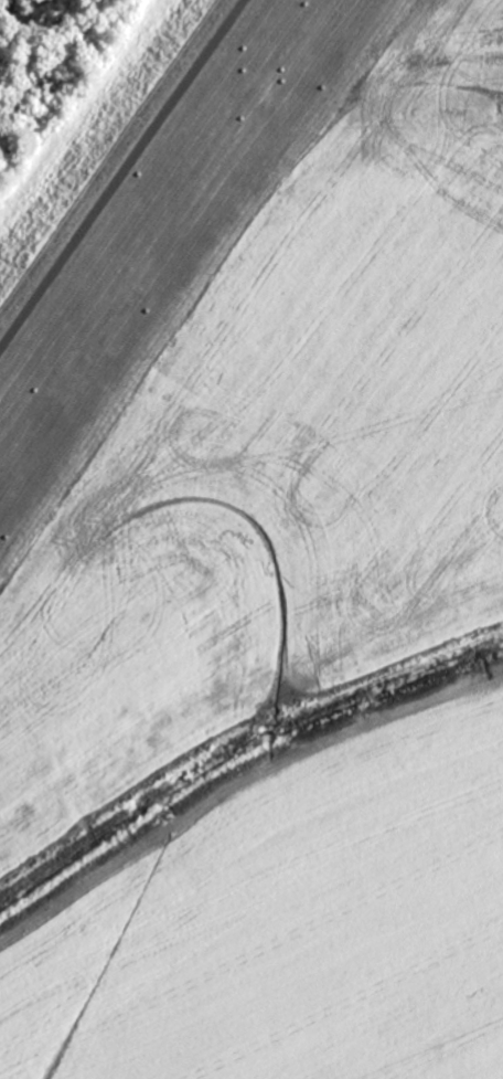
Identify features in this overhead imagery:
road: (122, 174)

